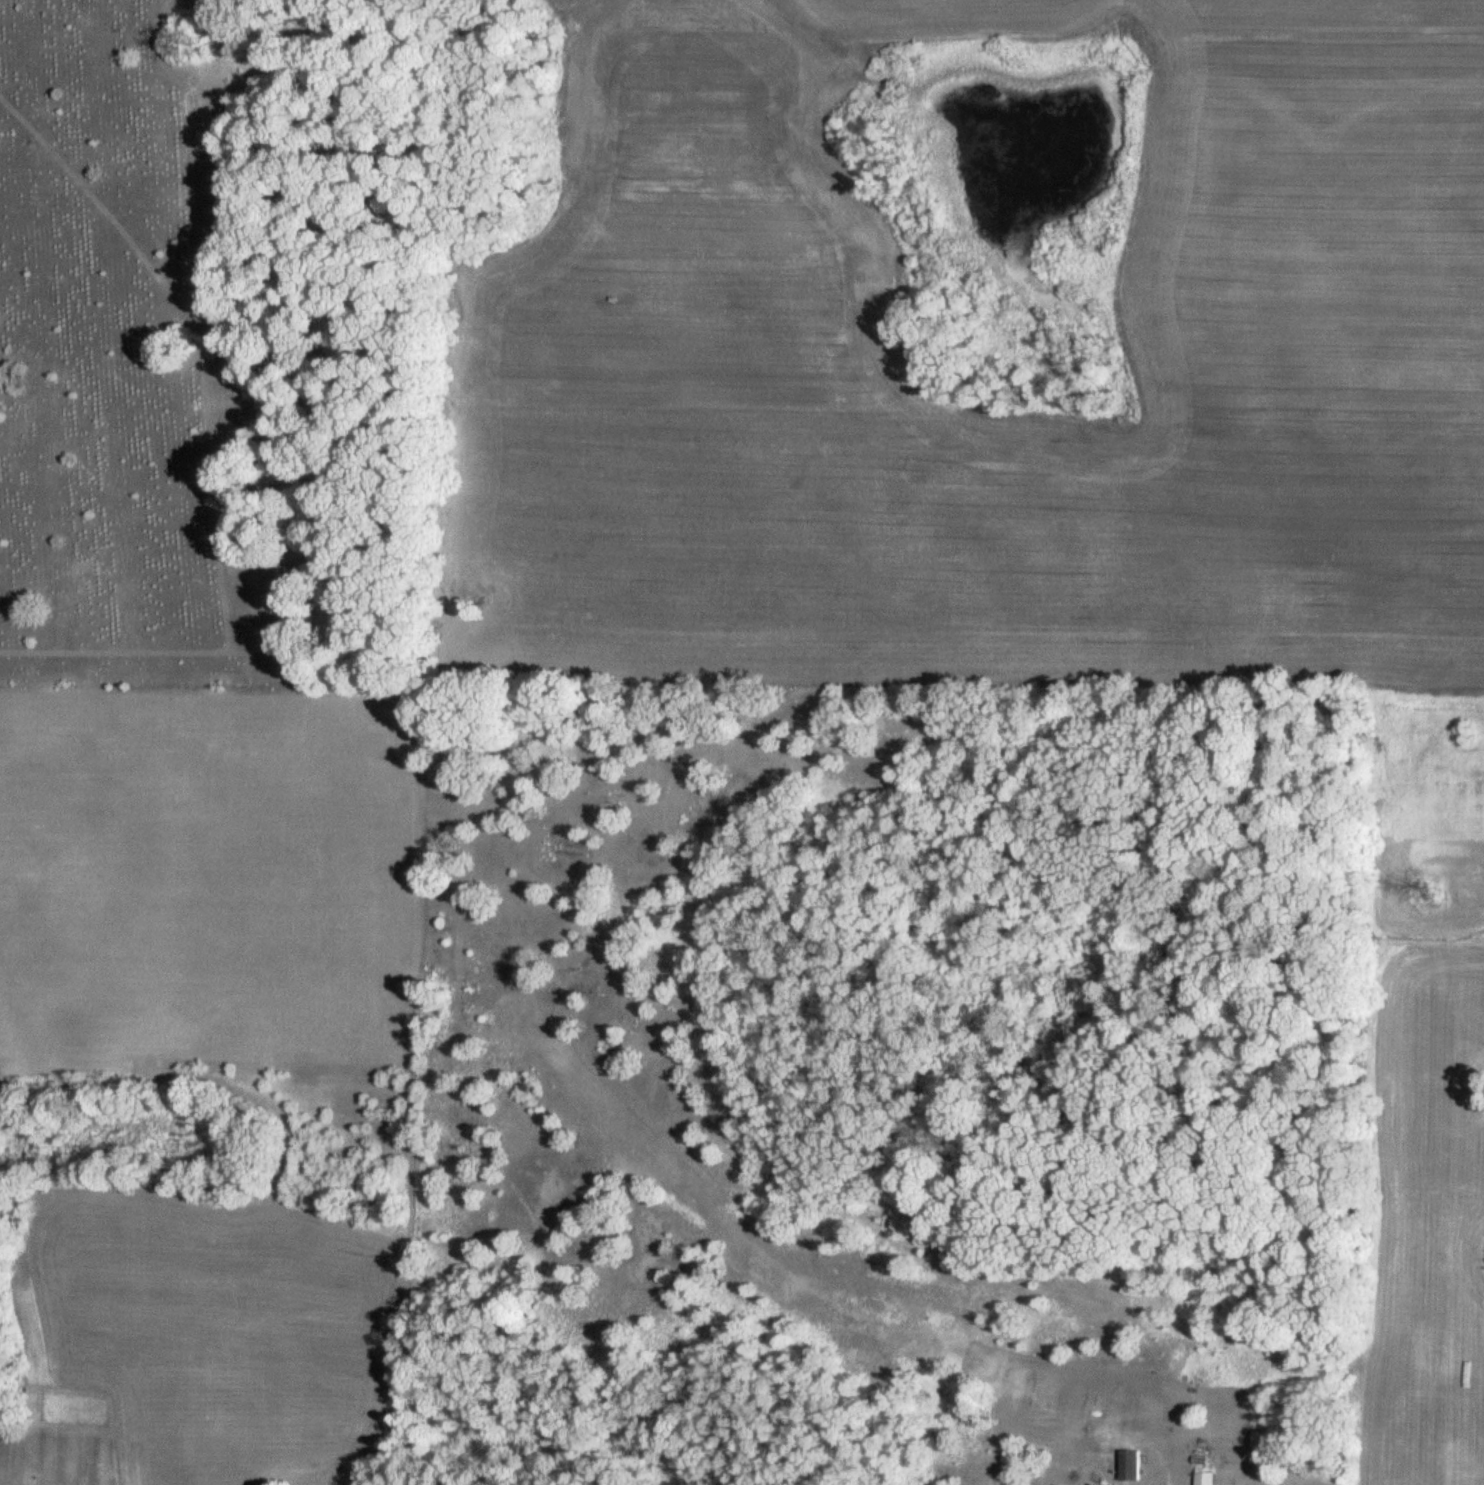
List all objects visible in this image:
building: (1265, 1441)
building: (1131, 1465)
building: (1206, 1478)

